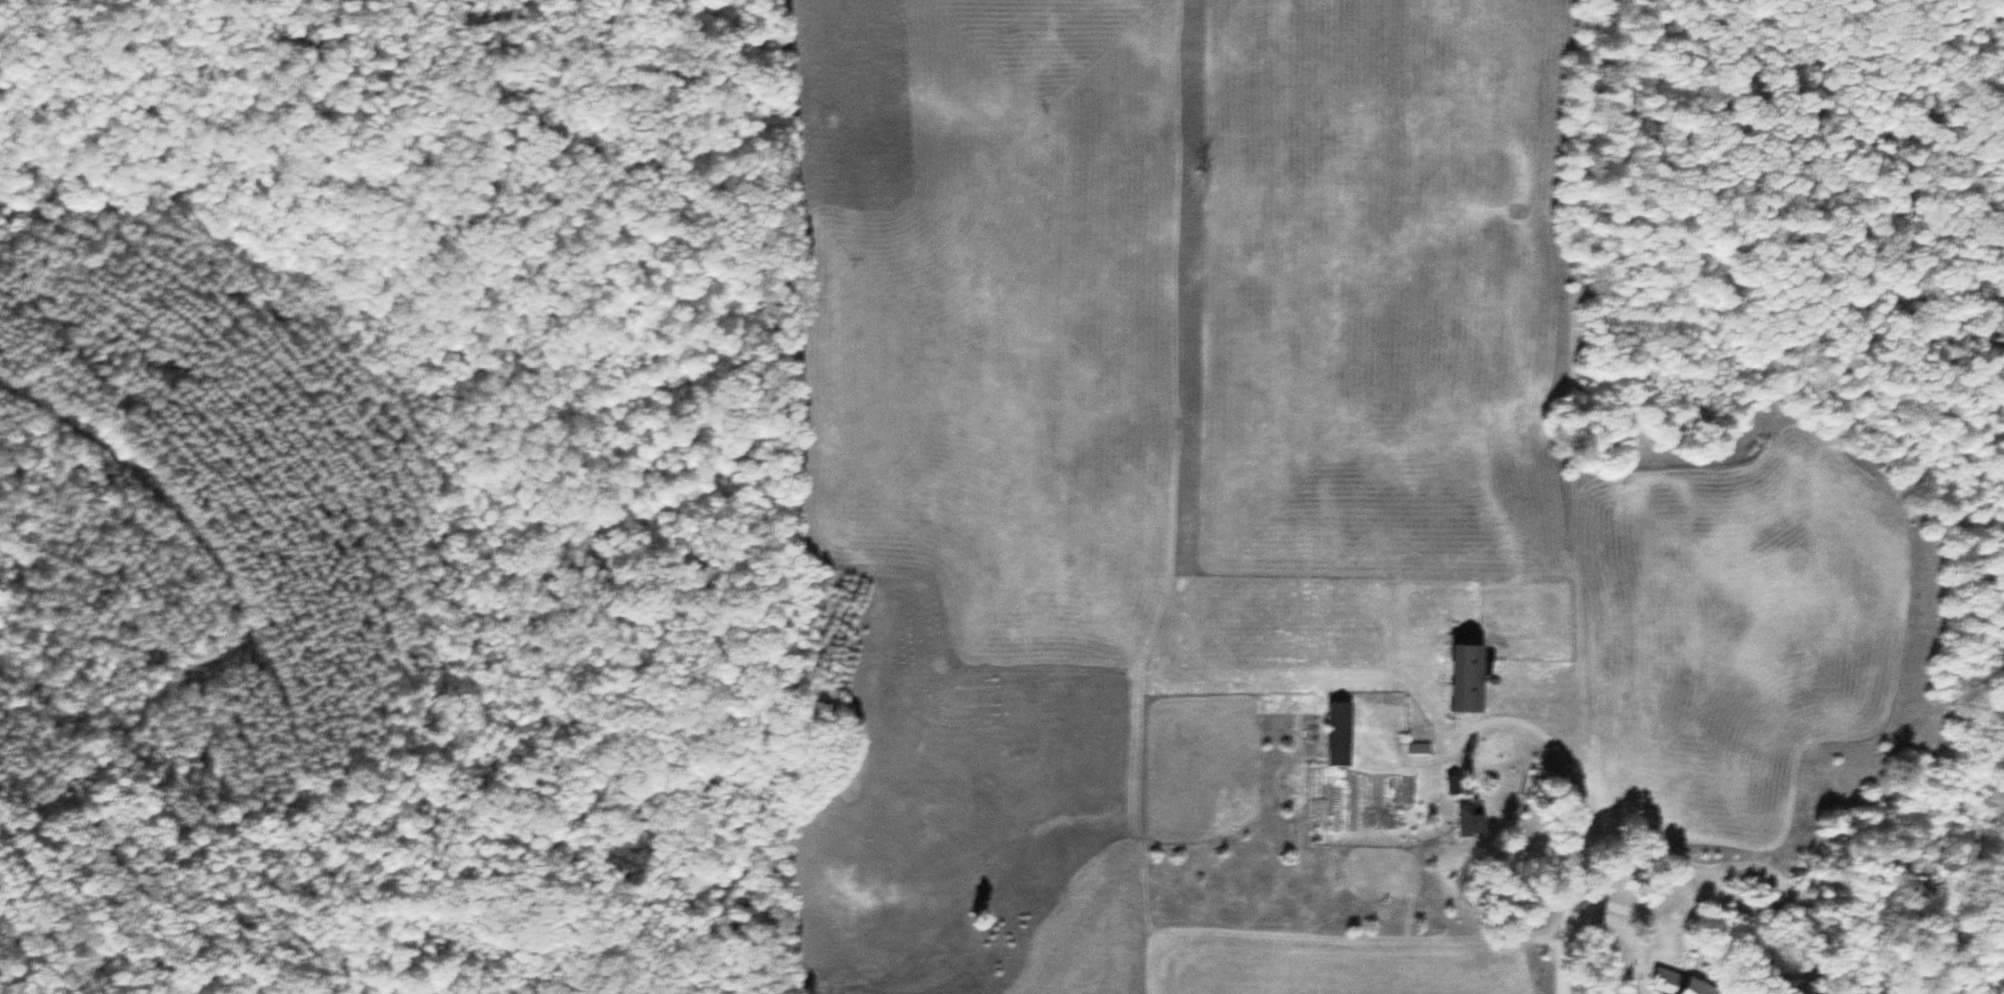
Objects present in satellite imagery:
building: (1467, 677)
building: (1336, 733)
road: (1560, 768)
building: (1452, 784)
building: (1470, 818)
road: (1617, 908)
road: (1557, 965)
building: (1682, 985)

